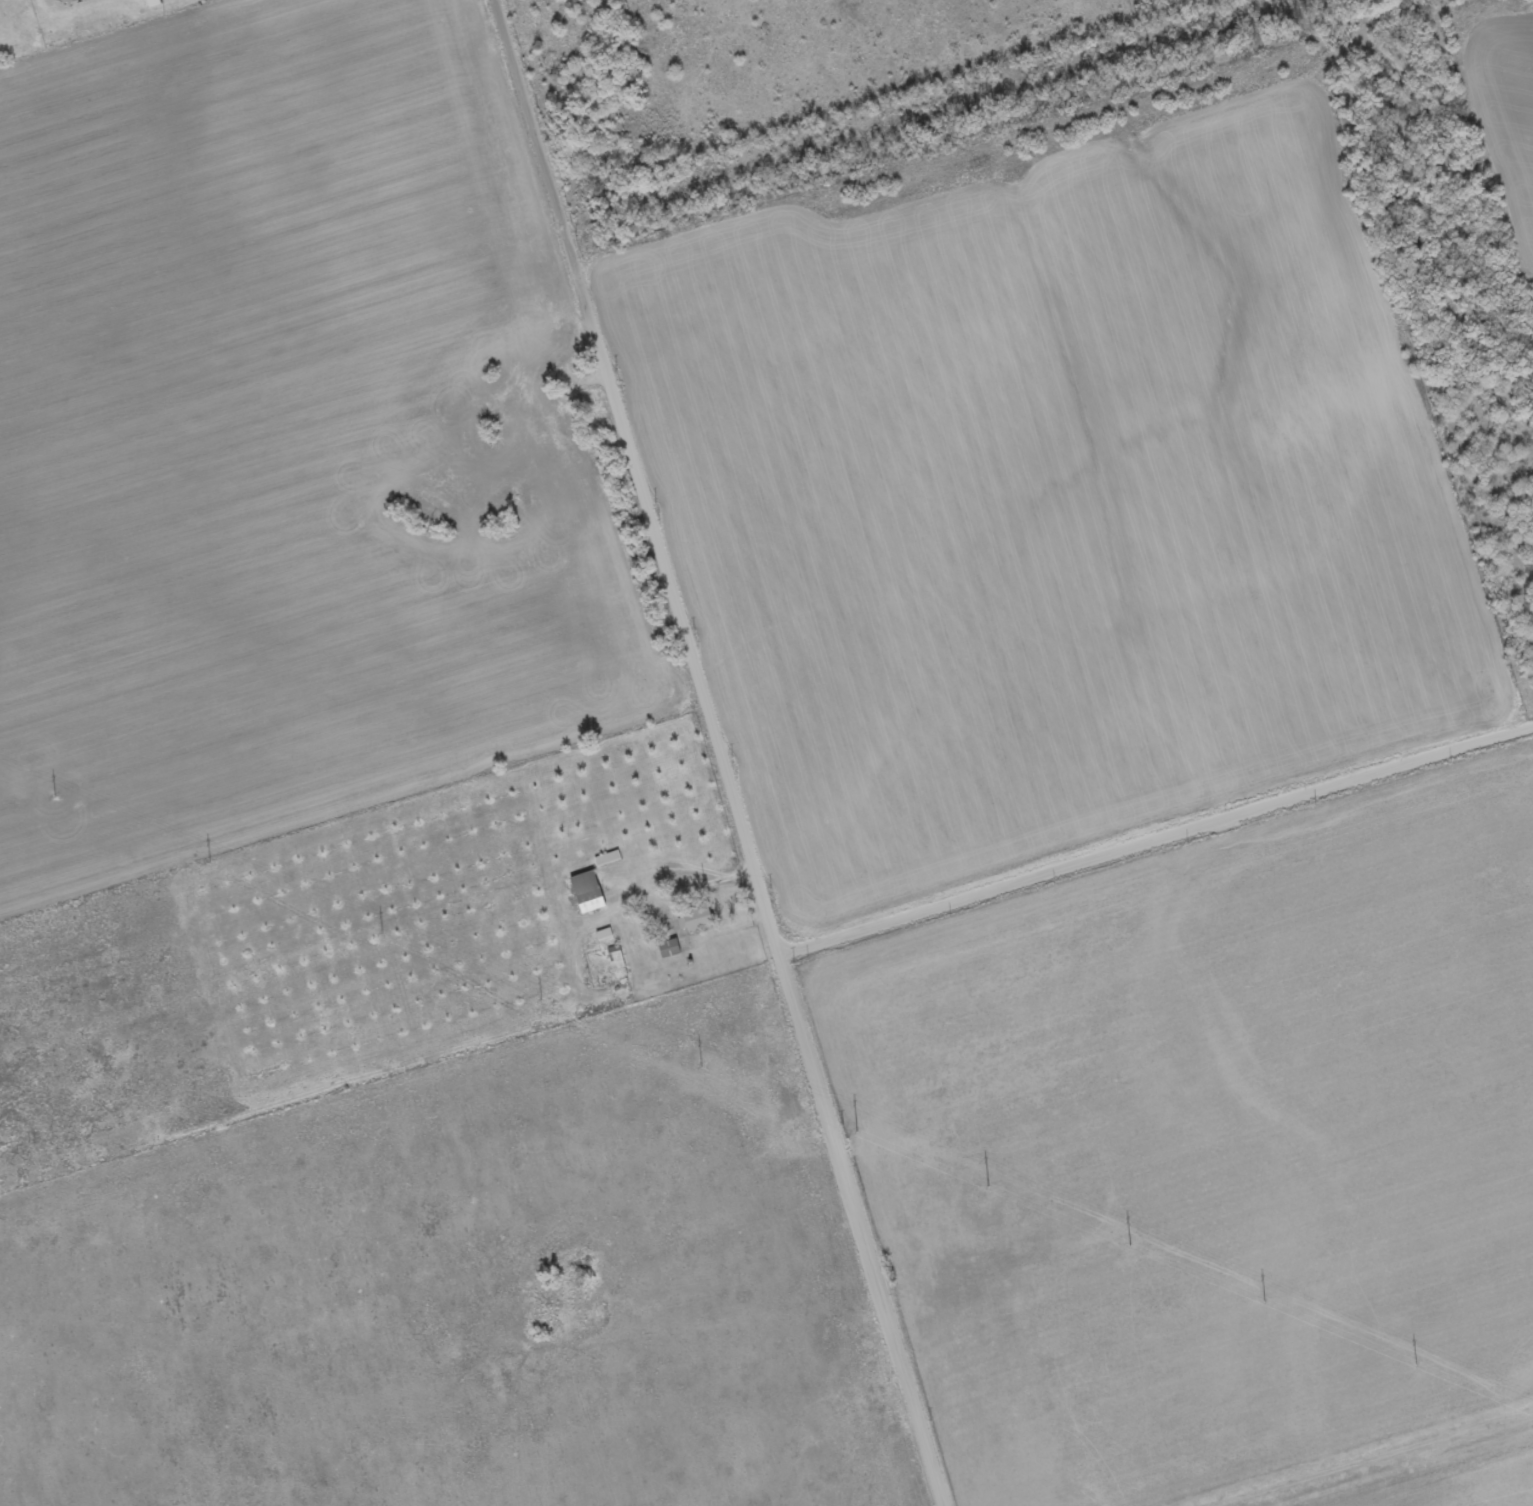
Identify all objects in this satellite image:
building: (154, 4)
road: (724, 752)
road: (1157, 836)
building: (589, 894)
building: (698, 921)
building: (670, 950)
building: (617, 959)
building: (584, 1269)
road: (674, 1274)

